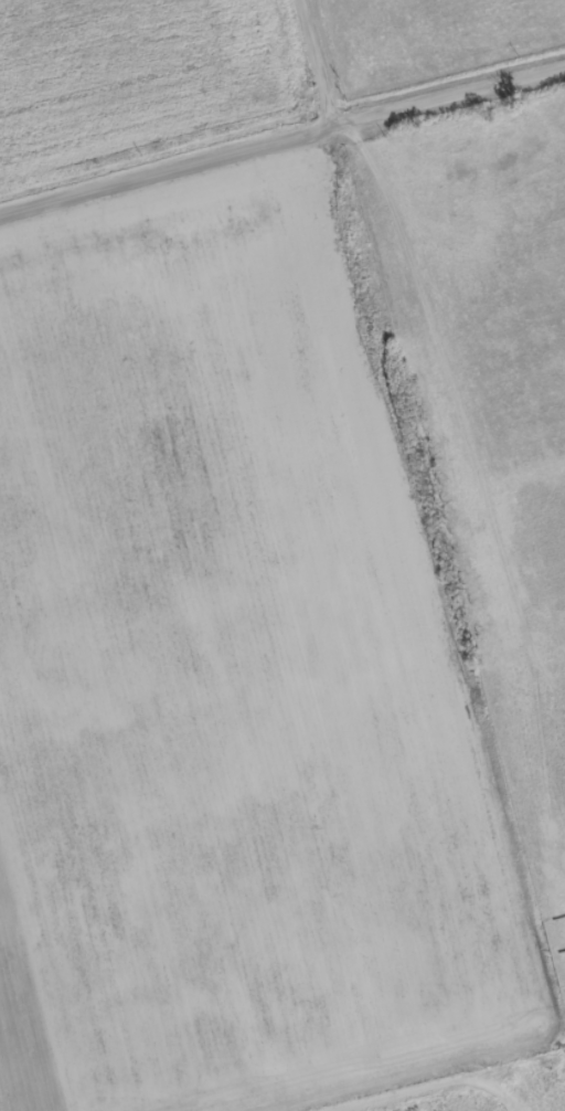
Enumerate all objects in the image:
road: (320, 63)
road: (281, 140)

